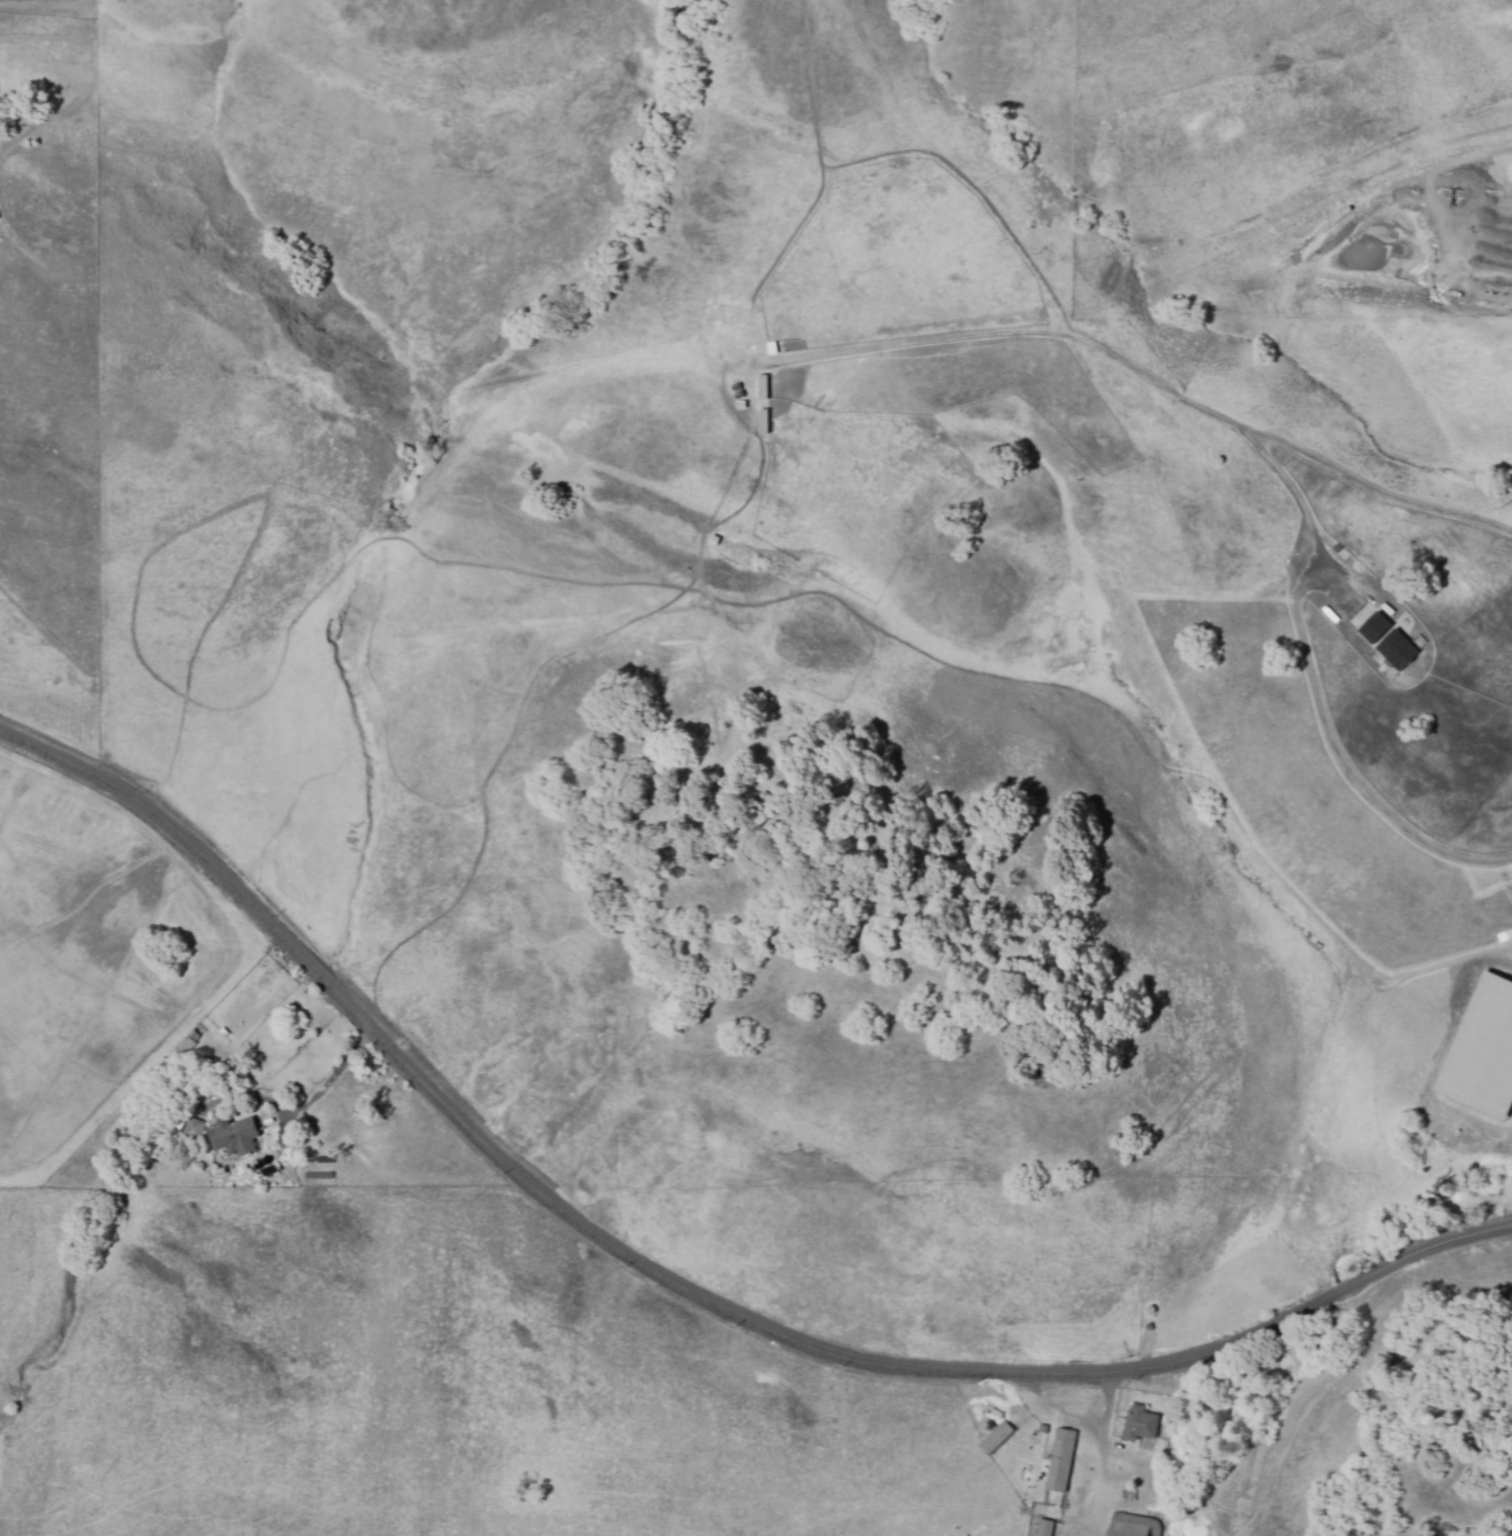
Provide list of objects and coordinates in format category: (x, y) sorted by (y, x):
road: (1145, 376)
building: (762, 386)
building: (1374, 626)
building: (1397, 648)
road: (1314, 687)
building: (187, 1048)
road: (324, 1088)
building: (192, 1127)
building: (238, 1137)
road: (675, 1278)
building: (994, 1411)
building: (1141, 1422)
building: (1045, 1427)
building: (997, 1435)
building: (1061, 1459)
building: (1046, 1527)
building: (1129, 1529)

